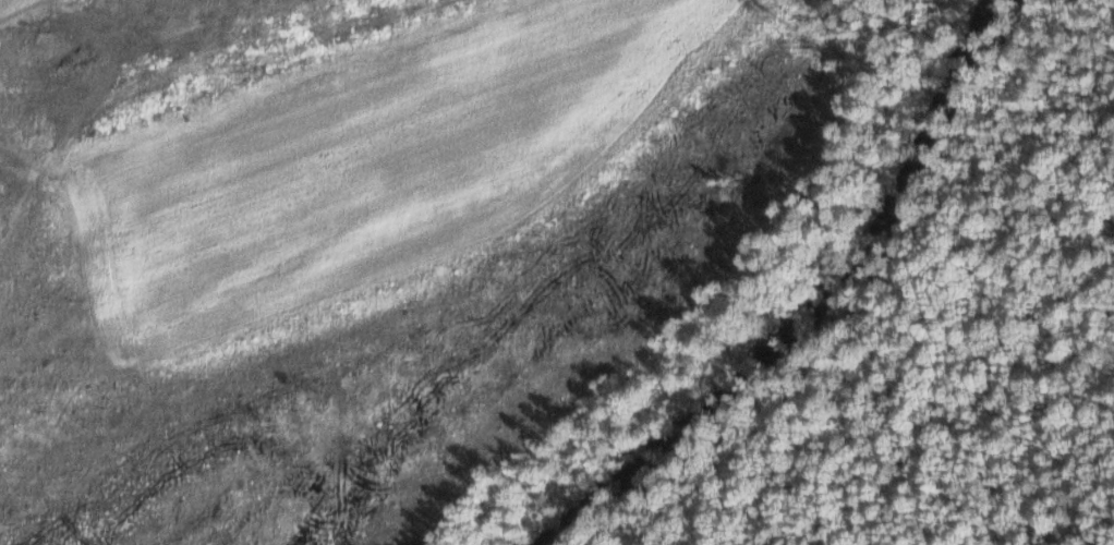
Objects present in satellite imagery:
river: (850, 305)

